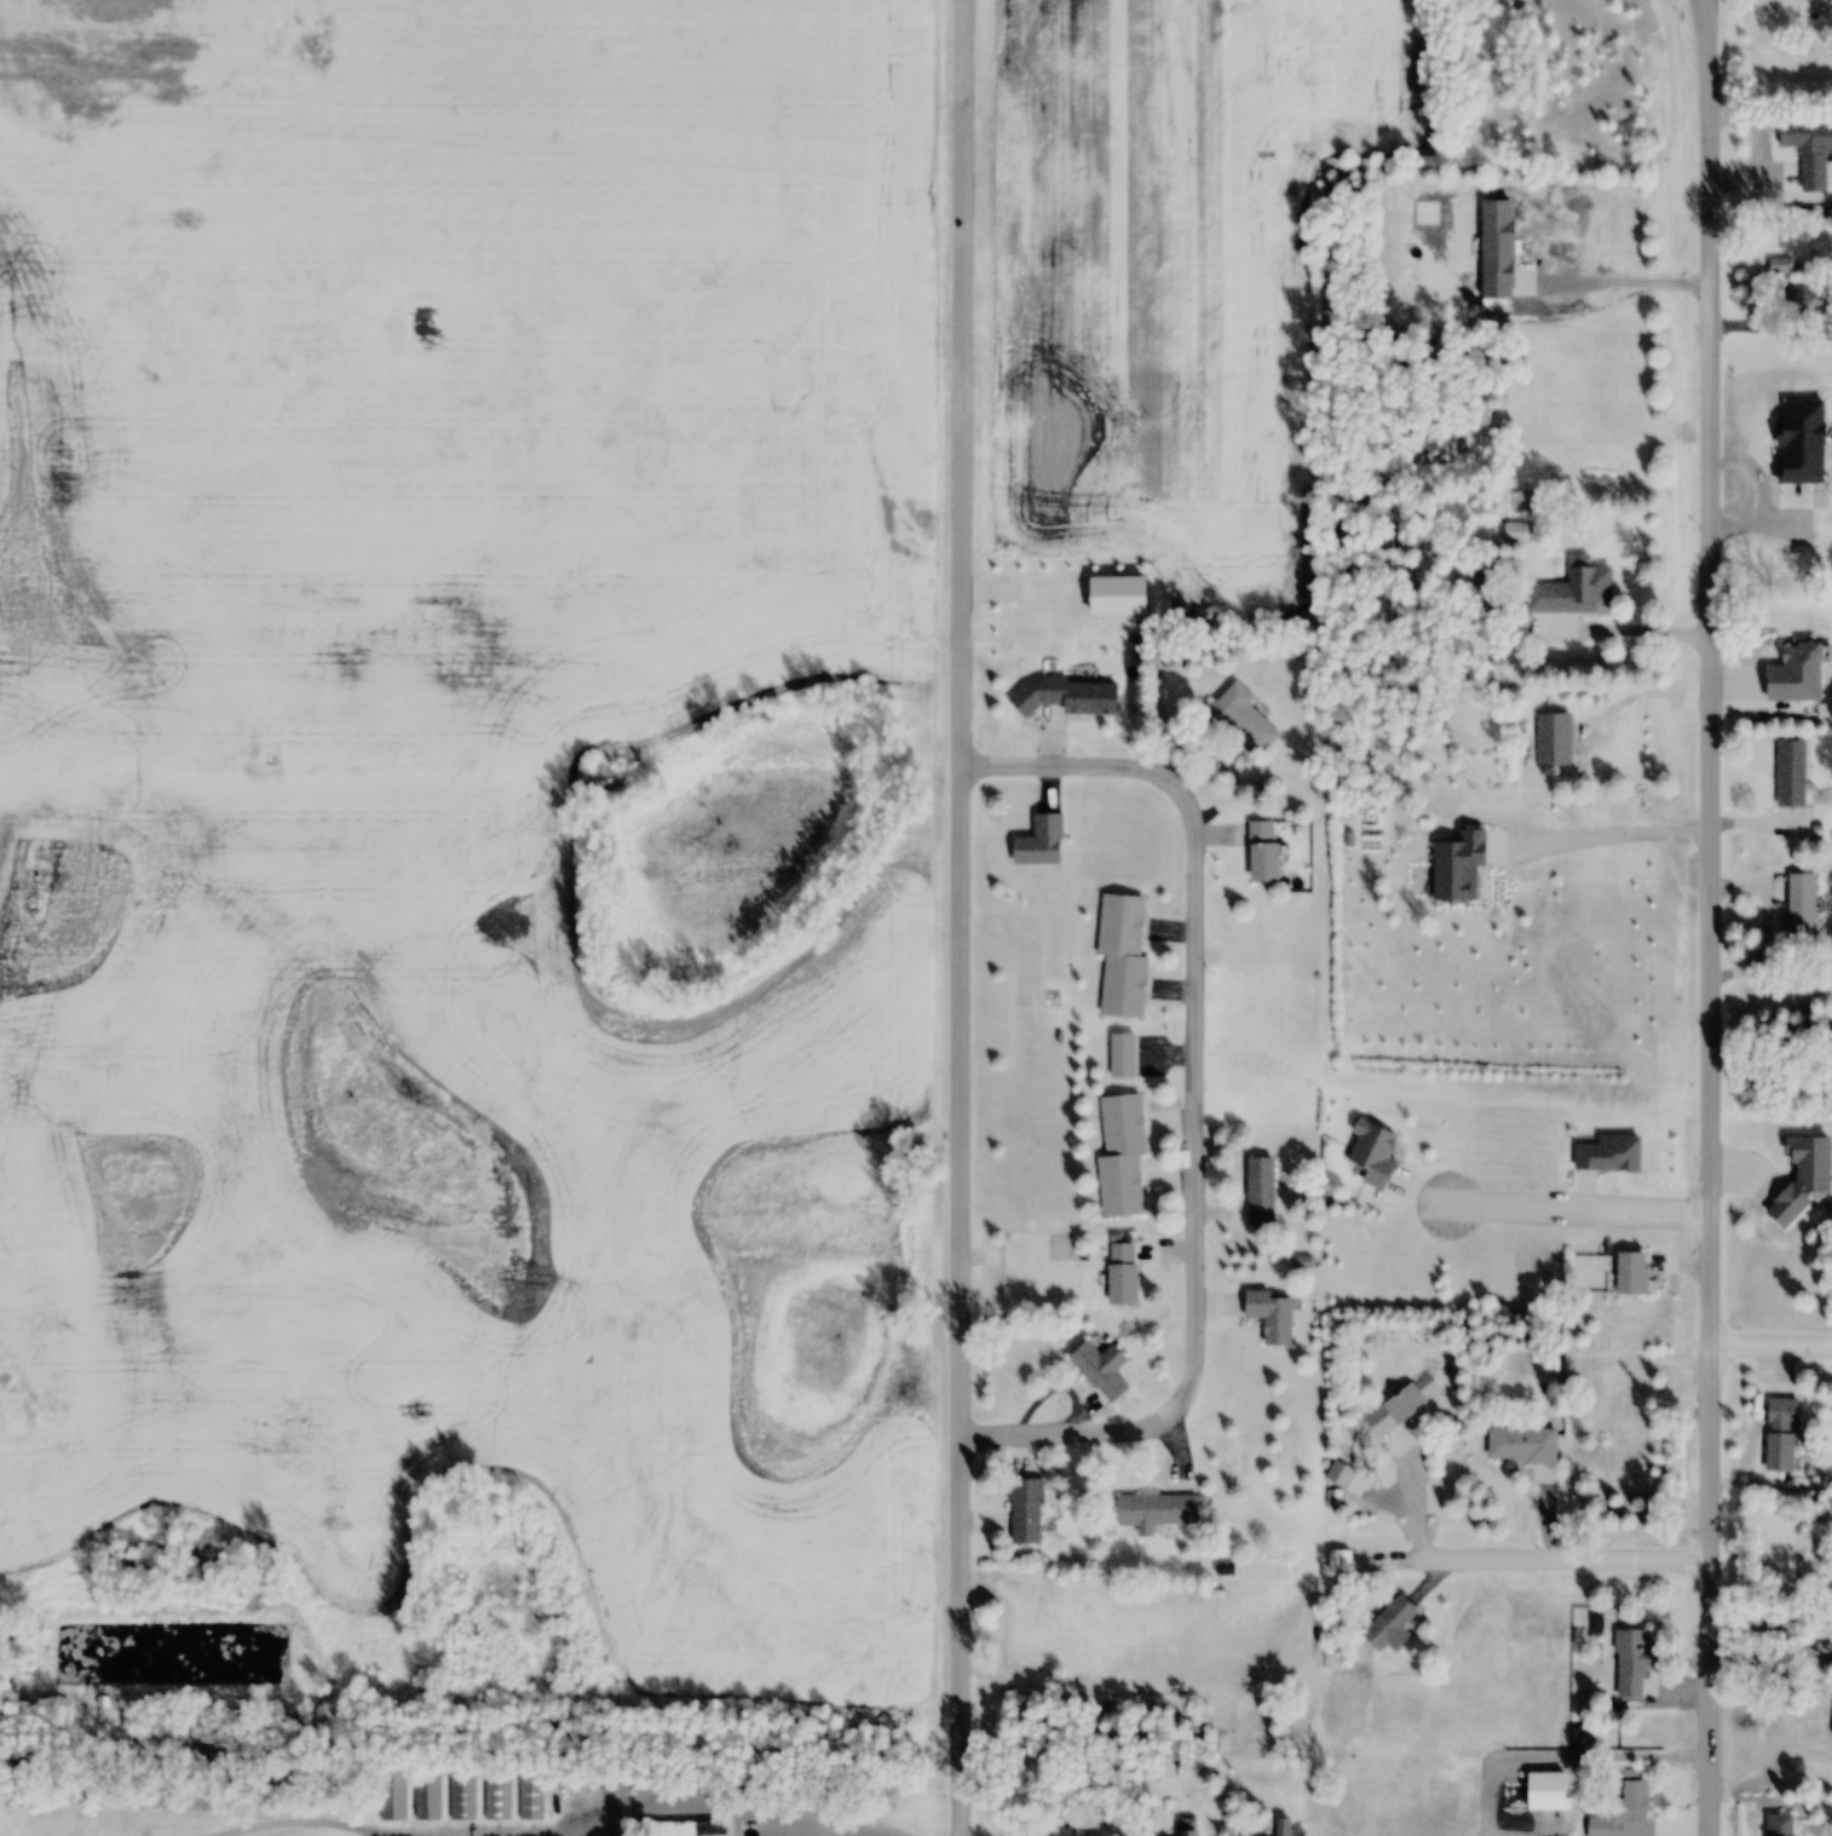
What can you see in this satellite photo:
road: (1711, 22)
building: (1808, 150)
building: (1779, 267)
building: (1809, 303)
building: (1515, 533)
building: (1486, 599)
building: (1567, 602)
building: (1066, 696)
building: (1243, 720)
building: (1791, 775)
building: (1041, 842)
building: (1263, 853)
building: (1458, 865)
building: (1799, 908)
road: (1709, 916)
road: (963, 917)
building: (1122, 956)
road: (1193, 1097)
building: (1372, 1152)
building: (1609, 1155)
building: (1120, 1156)
building: (1803, 1178)
building: (1260, 1191)
building: (1122, 1273)
building: (1631, 1273)
building: (1271, 1314)
road: (1770, 1353)
building: (1101, 1369)
building: (1400, 1414)
building: (1780, 1434)
building: (1521, 1444)
building: (1338, 1474)
building: (1154, 1510)
building: (1026, 1512)
road: (1536, 1538)
building: (1338, 1560)
building: (1389, 1622)
building: (1026, 1634)
building: (1630, 1663)
building: (1221, 1711)
park: (465, 1728)
road: (636, 1785)
building: (460, 1786)
building: (494, 1786)
building: (425, 1788)
building: (528, 1789)
building: (391, 1790)
building: (1629, 1806)
road: (682, 1811)
road: (289, 1814)
building: (1779, 1824)
building: (686, 1826)
building: (1187, 1826)
building: (1286, 1829)
building: (1061, 1832)

